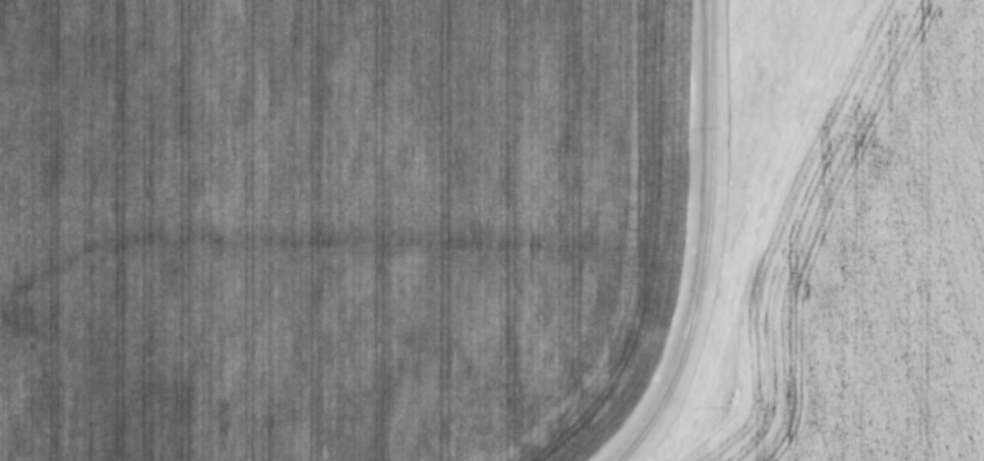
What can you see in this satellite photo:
road: (710, 241)

